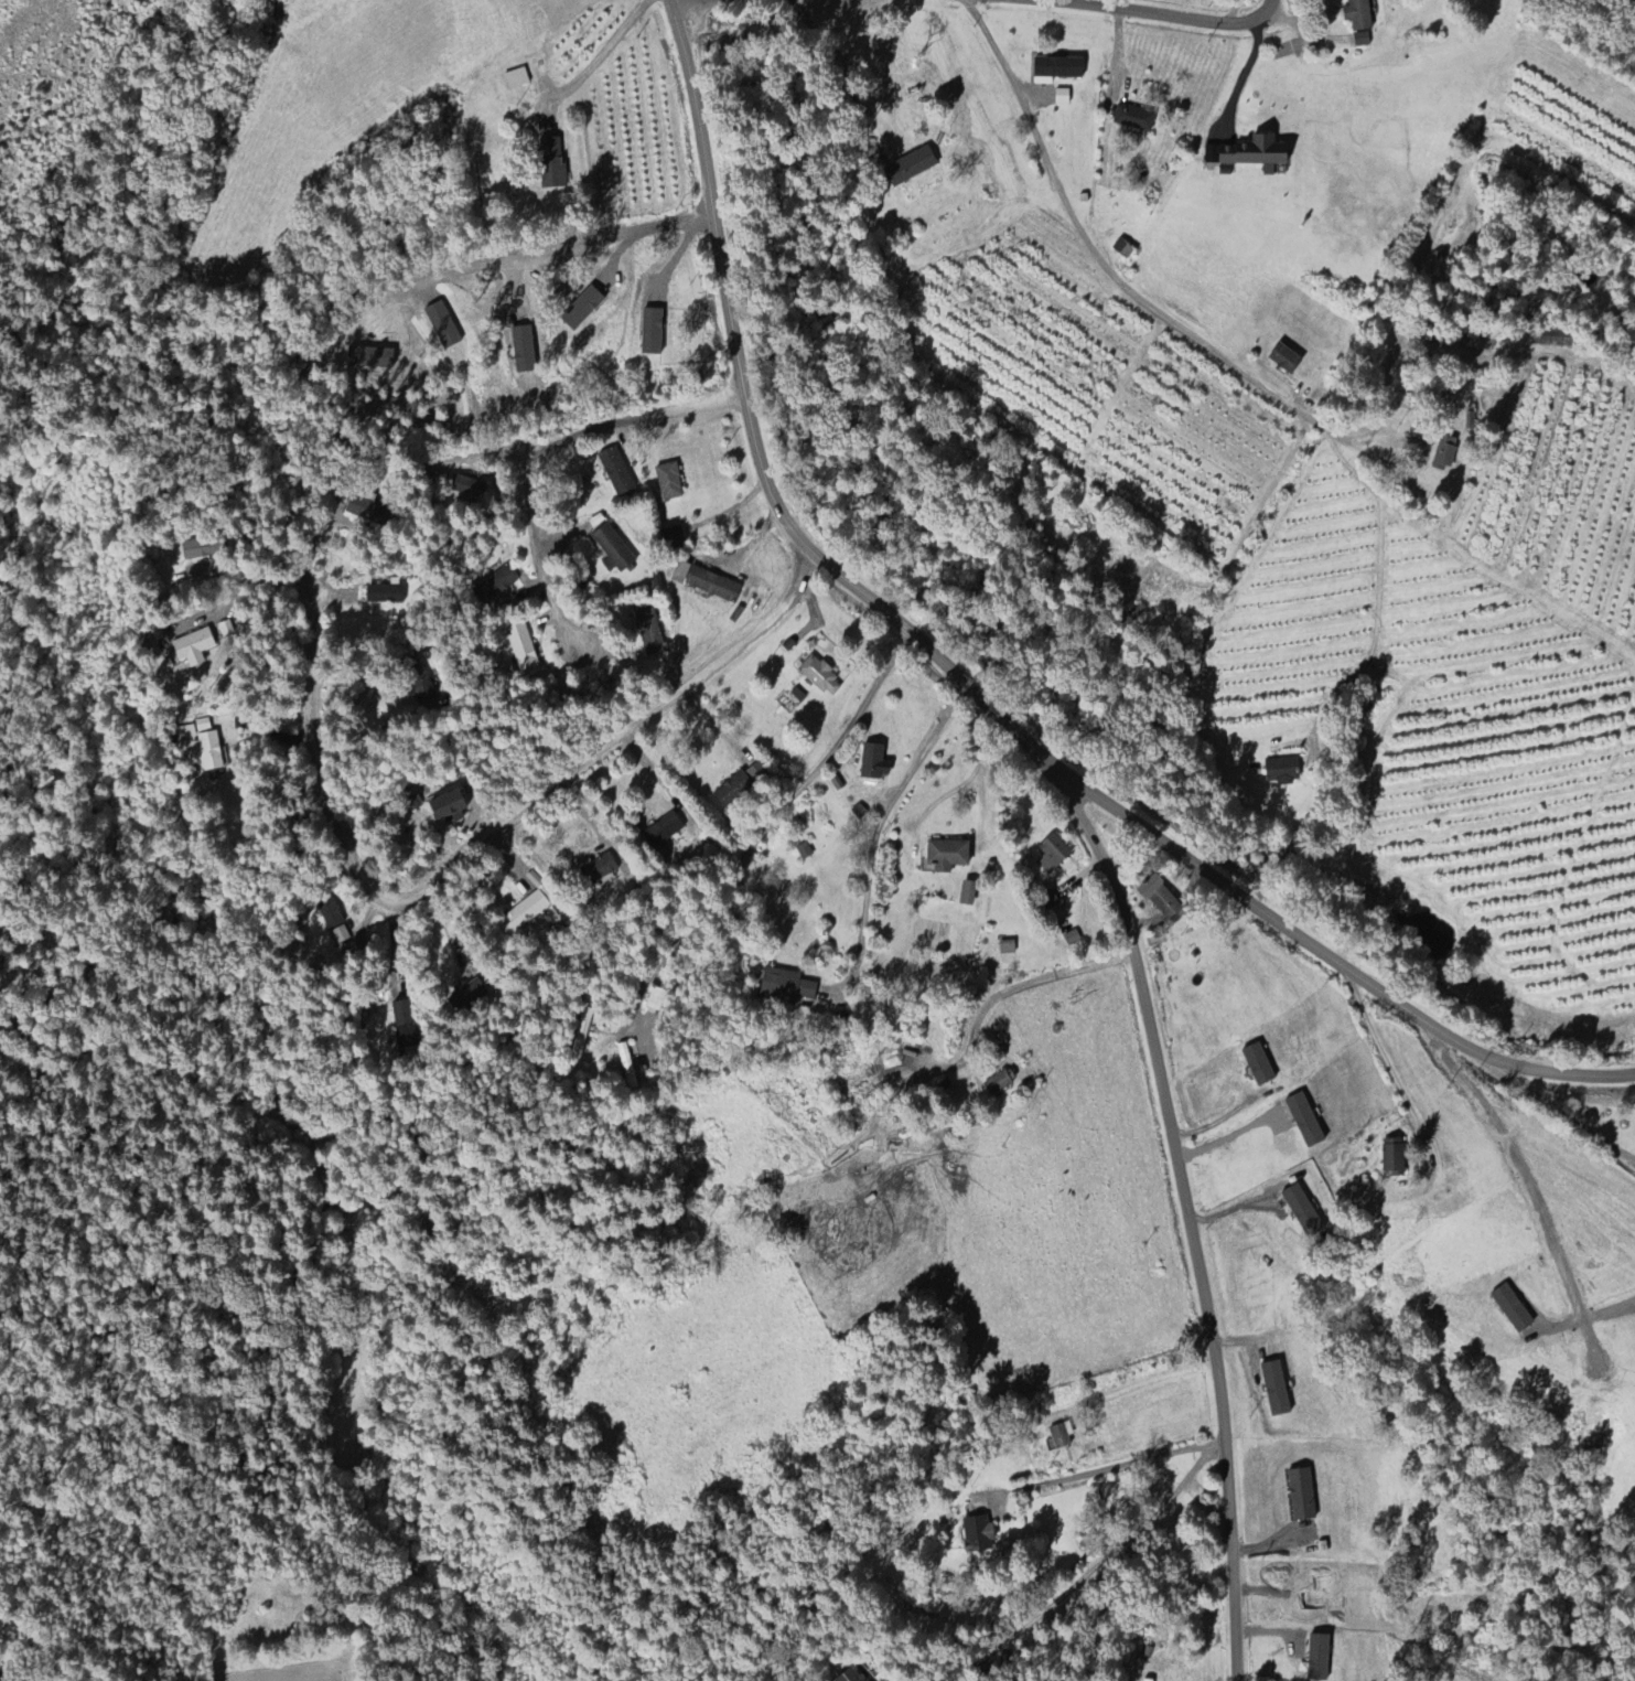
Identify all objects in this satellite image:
road: (693, 3)
road: (1129, 14)
building: (1358, 14)
building: (1360, 40)
road: (601, 55)
building: (1056, 69)
building: (516, 79)
building: (1134, 119)
building: (1250, 154)
building: (552, 164)
building: (911, 168)
road: (622, 236)
building: (1123, 249)
road: (1091, 258)
building: (582, 309)
building: (652, 332)
building: (1553, 338)
road: (1419, 343)
building: (523, 350)
building: (1286, 360)
building: (1445, 453)
road: (492, 454)
road: (533, 469)
building: (616, 472)
building: (669, 482)
building: (467, 488)
building: (369, 513)
road: (1251, 528)
building: (674, 538)
building: (200, 549)
building: (613, 550)
building: (680, 574)
building: (495, 586)
building: (713, 586)
building: (386, 595)
road: (1376, 595)
building: (648, 630)
building: (193, 645)
building: (523, 650)
building: (821, 677)
building: (423, 689)
road: (968, 693)
building: (216, 727)
building: (185, 732)
road: (367, 736)
building: (208, 752)
building: (873, 762)
building: (1282, 771)
building: (742, 785)
building: (450, 809)
road: (763, 825)
building: (664, 831)
road: (878, 831)
road: (470, 852)
building: (805, 852)
building: (1052, 855)
building: (948, 856)
building: (598, 870)
building: (968, 895)
building: (1161, 898)
building: (330, 913)
building: (1007, 949)
building: (786, 987)
road: (1014, 987)
building: (469, 994)
building: (402, 1014)
building: (581, 1035)
building: (1259, 1066)
building: (1000, 1084)
road: (1395, 1084)
road: (1555, 1120)
building: (1305, 1121)
road: (1227, 1138)
building: (1394, 1158)
road: (1537, 1195)
building: (1360, 1197)
road: (1182, 1203)
building: (1303, 1212)
building: (1512, 1309)
road: (1141, 1384)
building: (1276, 1389)
building: (1059, 1437)
road: (1108, 1468)
building: (1301, 1495)
building: (979, 1535)
road: (1069, 1589)
building: (1319, 1658)
building: (849, 1677)
building: (1147, 1680)

